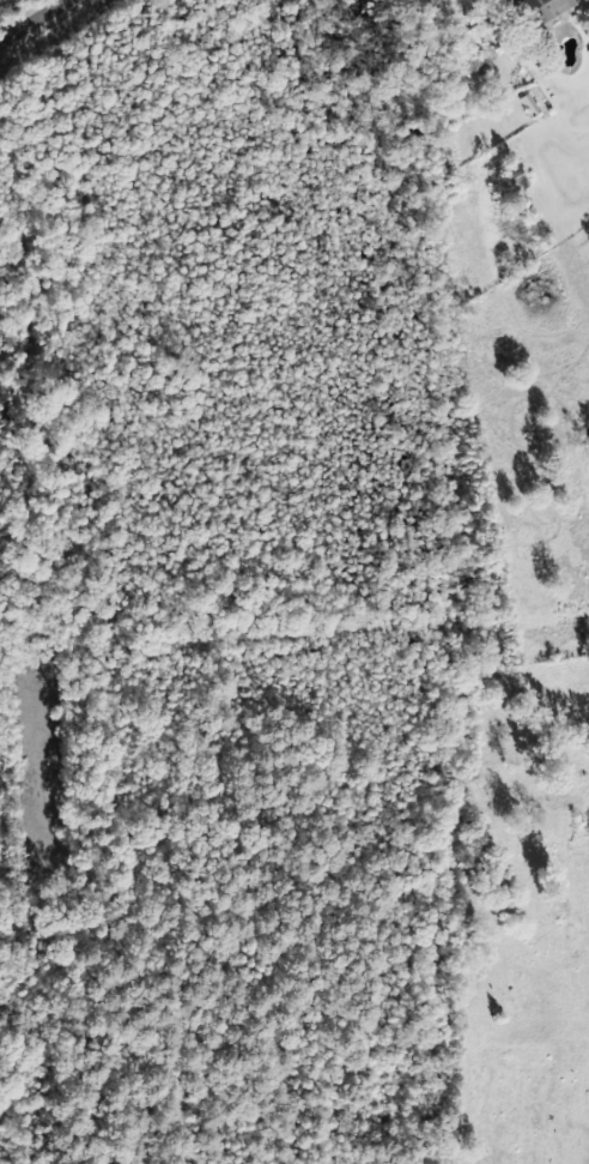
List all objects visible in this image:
building: (541, 8)
road: (34, 20)
building: (528, 104)

